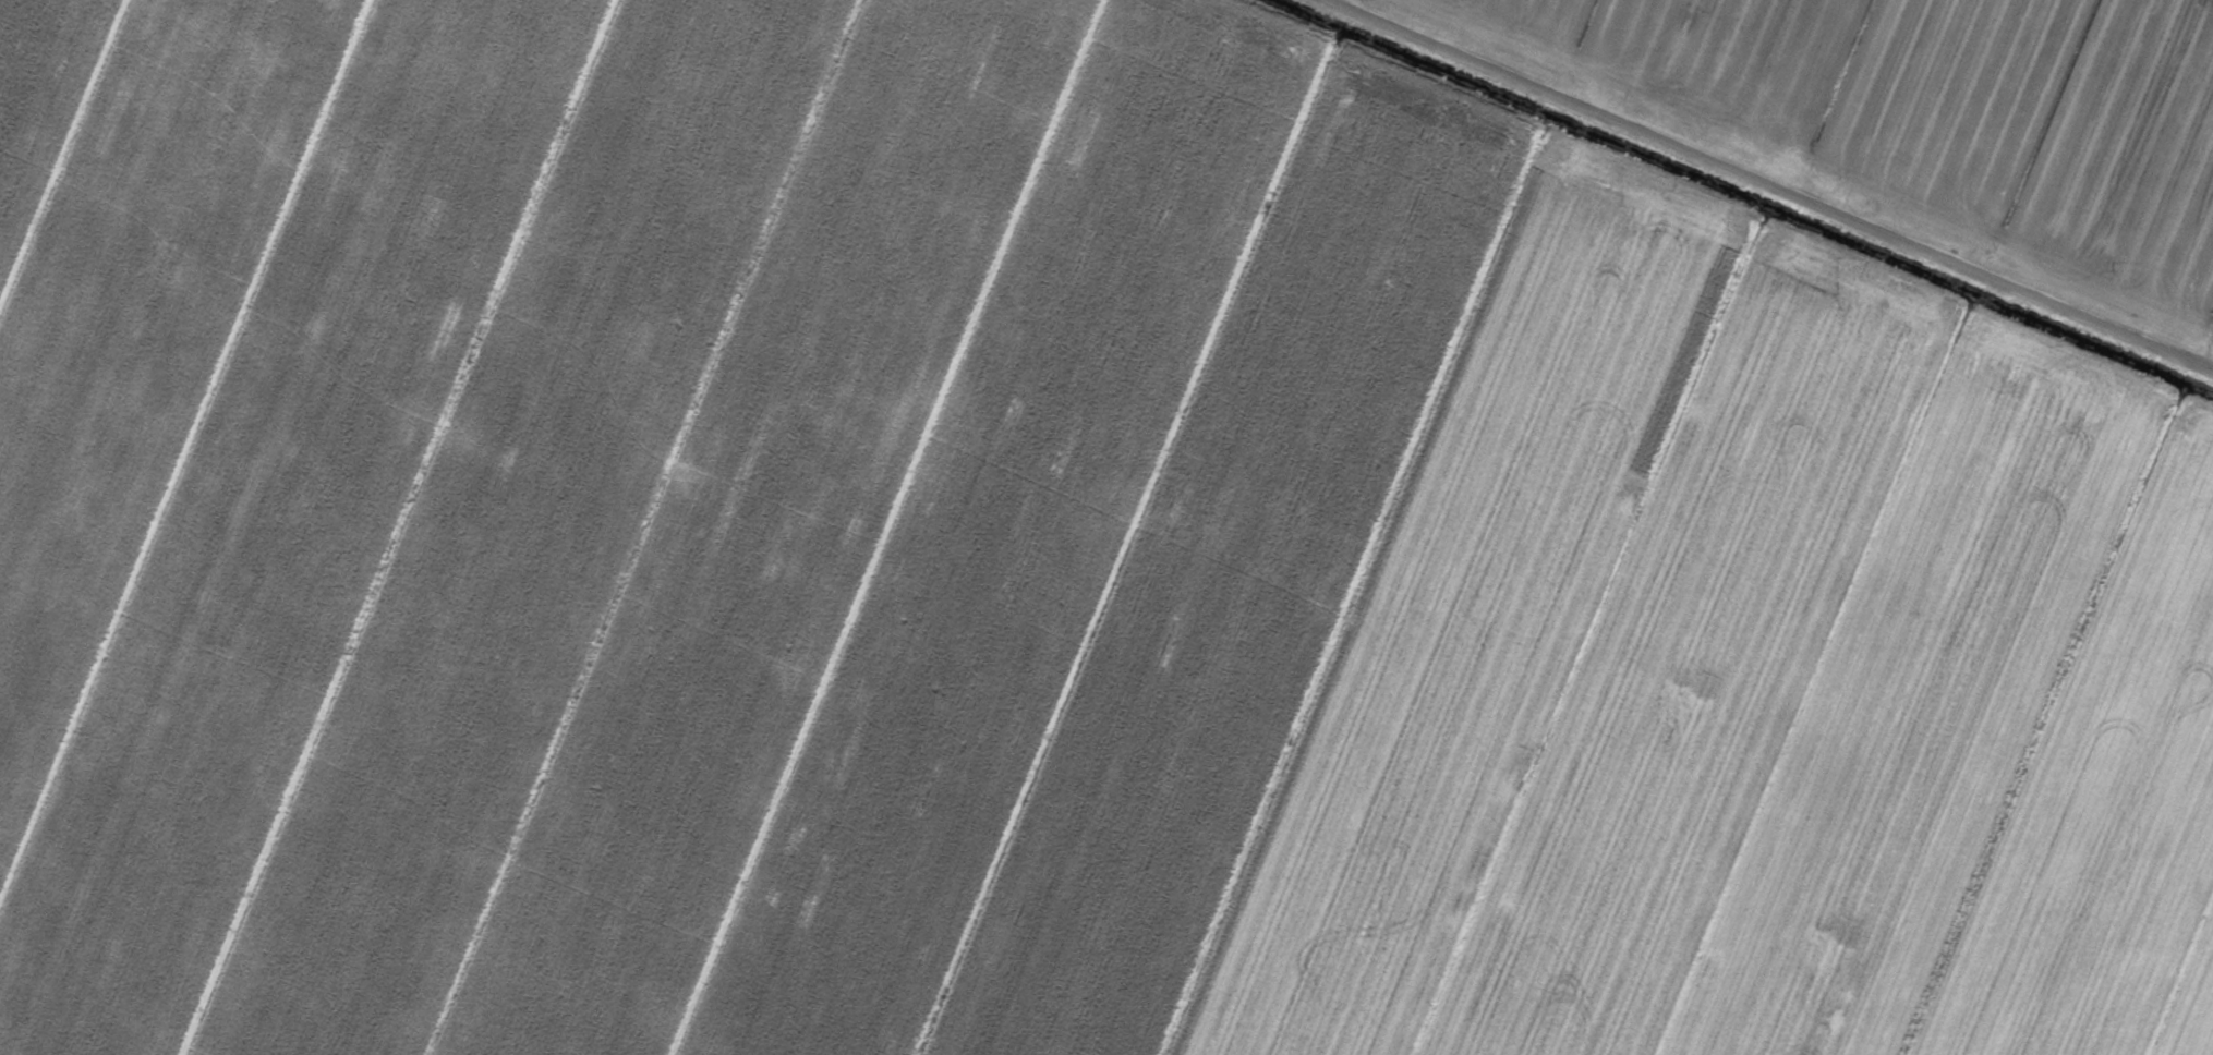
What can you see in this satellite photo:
road: (1807, 170)
crop: (1106, 527)

